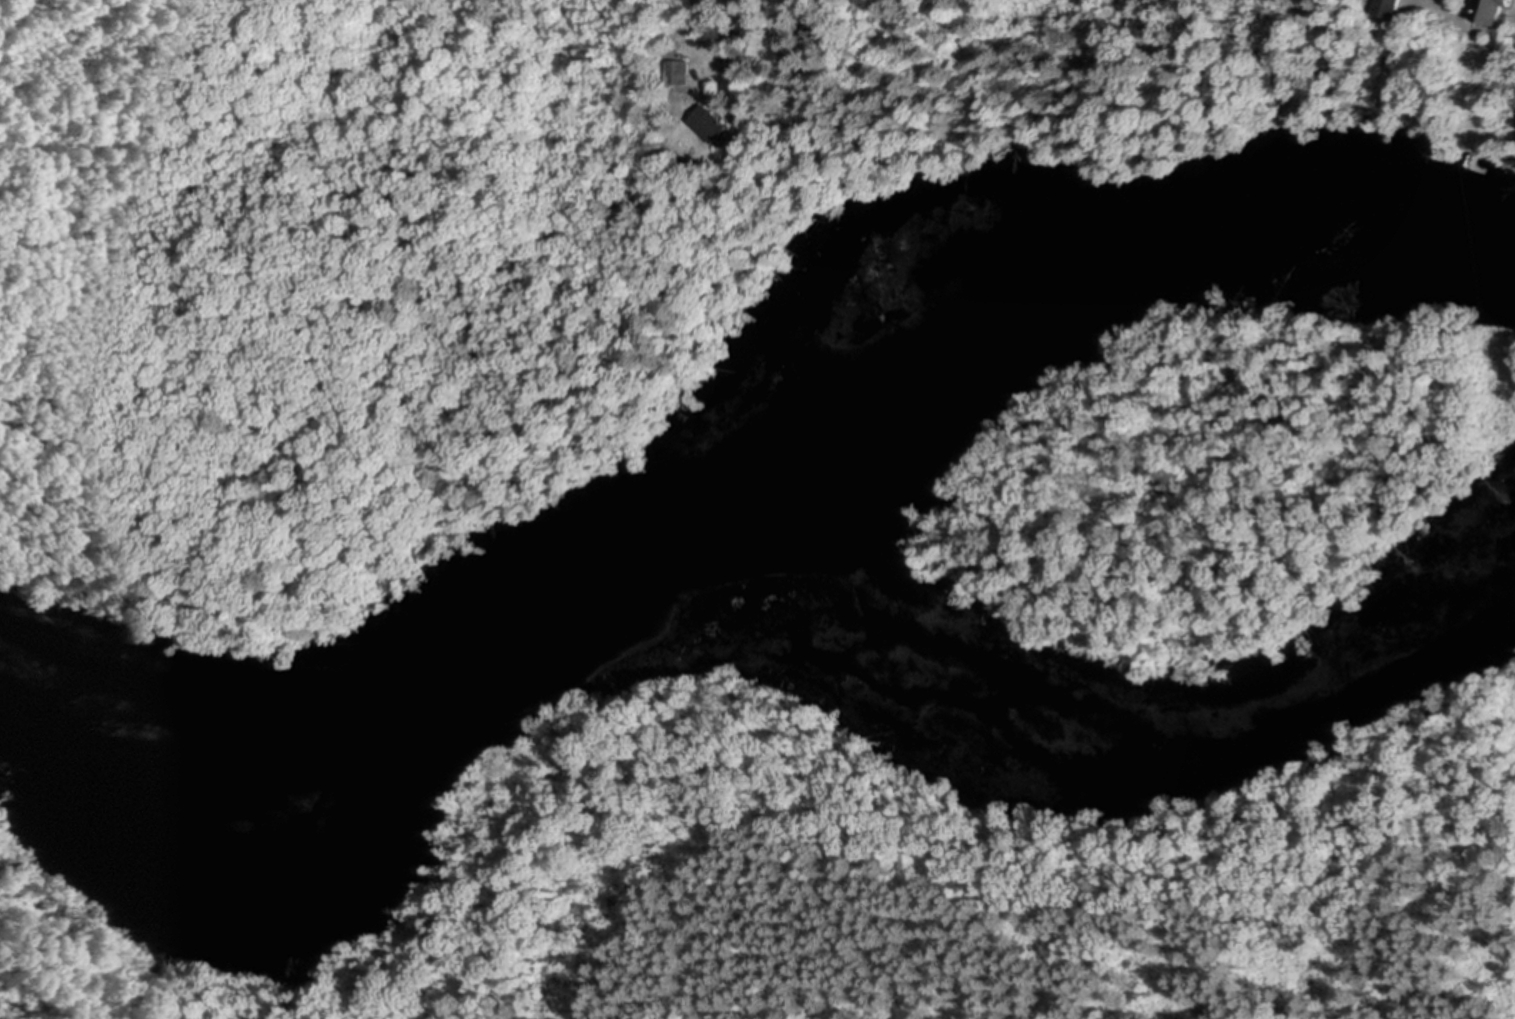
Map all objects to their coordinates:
building: (1397, 7)
building: (1497, 10)
road: (708, 20)
building: (817, 31)
building: (676, 71)
building: (712, 123)
river: (728, 475)

